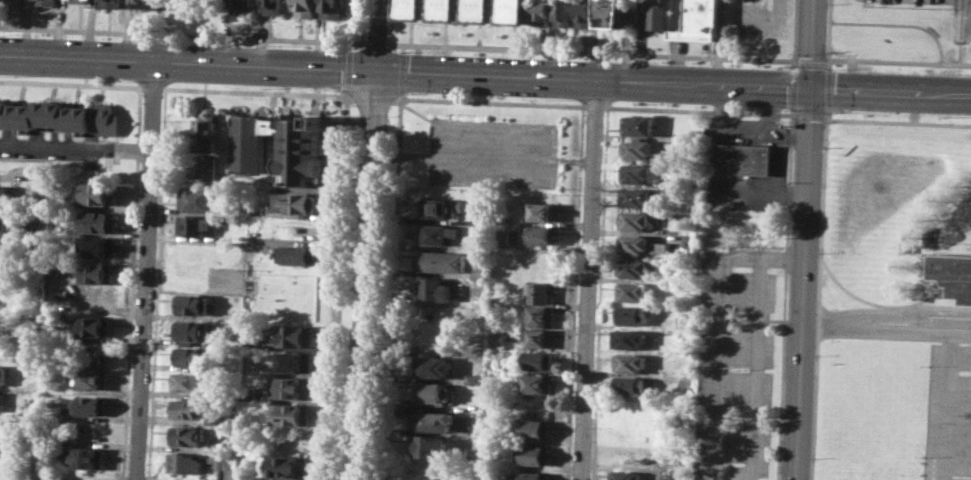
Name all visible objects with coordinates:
building: (14, 1)
building: (81, 1)
parking lot: (918, 1)
building: (46, 2)
building: (110, 3)
building: (142, 4)
building: (241, 7)
building: (273, 7)
building: (304, 8)
building: (334, 8)
building: (412, 8)
building: (447, 9)
building: (481, 10)
building: (516, 10)
building: (544, 12)
building: (565, 12)
building: (586, 12)
building: (613, 13)
building: (656, 15)
building: (698, 20)
road: (361, 21)
road: (390, 21)
road: (899, 24)
road: (794, 32)
road: (961, 32)
street lamp: (8, 33)
road: (182, 34)
road: (829, 34)
road: (374, 35)
street lamp: (364, 36)
street lamp: (133, 38)
park: (961, 39)
road: (374, 42)
street lamp: (272, 45)
road: (402, 47)
street lamp: (412, 50)
road: (590, 51)
street lamp: (558, 57)
road: (826, 59)
street lamp: (655, 60)
road: (810, 60)
road: (186, 62)
road: (899, 62)
street lamp: (782, 65)
street lamp: (833, 67)
traffic signals: (373, 71)
road: (401, 72)
street lamp: (958, 73)
street lamp: (6, 75)
street lamp: (130, 81)
road: (671, 84)
road: (792, 85)
street lamp: (270, 88)
traffic signals: (810, 88)
road: (826, 89)
street lamp: (415, 93)
road: (373, 98)
road: (397, 98)
street lamp: (556, 98)
road: (492, 101)
street lamp: (653, 103)
road: (594, 106)
street lamp: (783, 109)
road: (791, 112)
street lamp: (833, 113)
street lamp: (958, 115)
building: (60, 116)
road: (808, 116)
street lamp: (357, 117)
road: (824, 118)
road: (898, 121)
building: (637, 124)
road: (764, 130)
building: (204, 134)
road: (793, 136)
road: (74, 146)
building: (280, 148)
road: (548, 148)
street lamp: (822, 148)
building: (636, 149)
parking lot: (493, 152)
road: (403, 156)
building: (743, 158)
gas station: (743, 158)
road: (777, 158)
building: (201, 168)
building: (635, 173)
road: (714, 181)
building: (675, 184)
building: (40, 188)
building: (98, 193)
building: (4, 195)
building: (634, 197)
building: (196, 199)
building: (296, 202)
road: (787, 203)
building: (441, 207)
building: (544, 211)
building: (5, 216)
building: (633, 220)
building: (98, 221)
building: (193, 225)
building: (441, 234)
building: (540, 234)
building: (500, 238)
road: (805, 239)
road: (316, 240)
building: (640, 245)
building: (96, 247)
street lamp: (818, 252)
building: (297, 253)
building: (443, 261)
building: (632, 267)
road: (144, 270)
building: (480, 270)
building: (95, 273)
building: (954, 274)
road: (365, 275)
road: (587, 280)
road: (339, 286)
road: (393, 286)
building: (434, 288)
building: (540, 291)
building: (631, 291)
road: (818, 294)
building: (3, 296)
building: (193, 303)
road: (876, 304)
road: (893, 307)
building: (539, 315)
building: (630, 315)
building: (681, 320)
building: (4, 323)
building: (93, 327)
road: (718, 328)
building: (192, 330)
road: (886, 330)
building: (291, 335)
building: (538, 337)
building: (631, 338)
road: (413, 350)
building: (92, 352)
street lamp: (814, 355)
building: (190, 356)
building: (294, 360)
building: (537, 360)
building: (628, 362)
parking lot: (736, 364)
building: (431, 366)
building: (3, 375)
building: (473, 378)
building: (93, 379)
building: (190, 381)
building: (536, 383)
road: (756, 384)
building: (628, 385)
building: (292, 387)
building: (435, 393)
building: (1, 401)
building: (91, 404)
road: (947, 406)
building: (195, 409)
building: (627, 409)
parking lot: (948, 413)
building: (291, 414)
building: (431, 420)
building: (534, 429)
building: (186, 435)
building: (427, 445)
building: (6, 453)
building: (531, 454)
building: (90, 457)
street lamp: (810, 457)
building: (219, 461)
building: (244, 461)
building: (186, 462)
building: (286, 467)
building: (530, 475)
building: (625, 475)

